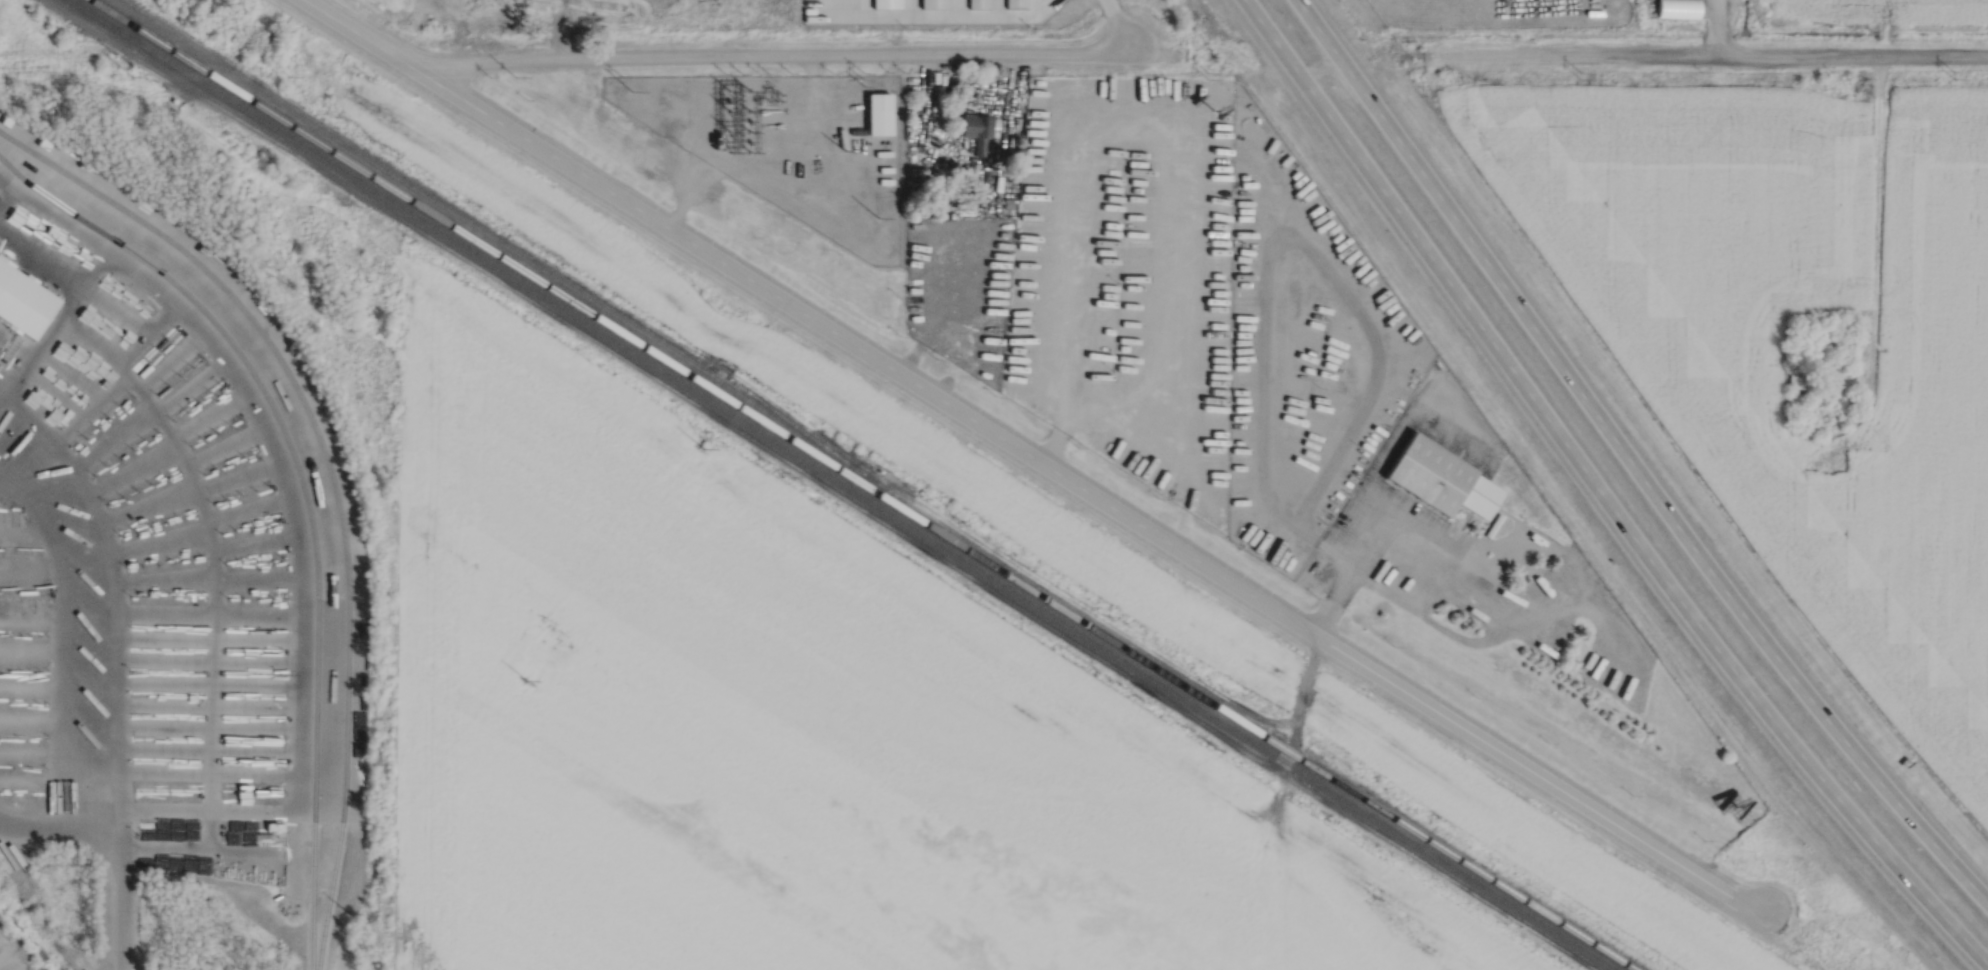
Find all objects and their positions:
building: (885, 3)
crop: (398, 4)
building: (933, 4)
building: (977, 4)
building: (1016, 4)
road: (1319, 29)
road: (1275, 40)
road: (1717, 53)
road: (774, 54)
road: (1322, 70)
power tower: (861, 75)
power tower: (1210, 77)
power tower: (1955, 77)
power tower: (1582, 78)
power tower: (631, 90)
building: (879, 111)
building: (978, 129)
power substation: (792, 146)
power tower: (846, 151)
building: (957, 194)
building: (1009, 202)
building: (820, 217)
railway: (495, 238)
railway: (480, 243)
building: (23, 299)
building: (1063, 367)
building: (1798, 376)
building: (1803, 394)
road: (2, 402)
railway: (305, 406)
railway: (281, 426)
road: (1035, 459)
building: (1440, 479)
road: (1371, 480)
railway: (844, 483)
road: (1652, 489)
road: (293, 511)
road: (1632, 534)
road: (1572, 581)
road: (112, 591)
road: (1431, 619)
road: (1613, 620)
road: (61, 634)
building: (171, 692)
railway: (1250, 728)
road: (61, 824)
road: (137, 845)
railway: (311, 894)
railway: (328, 894)

